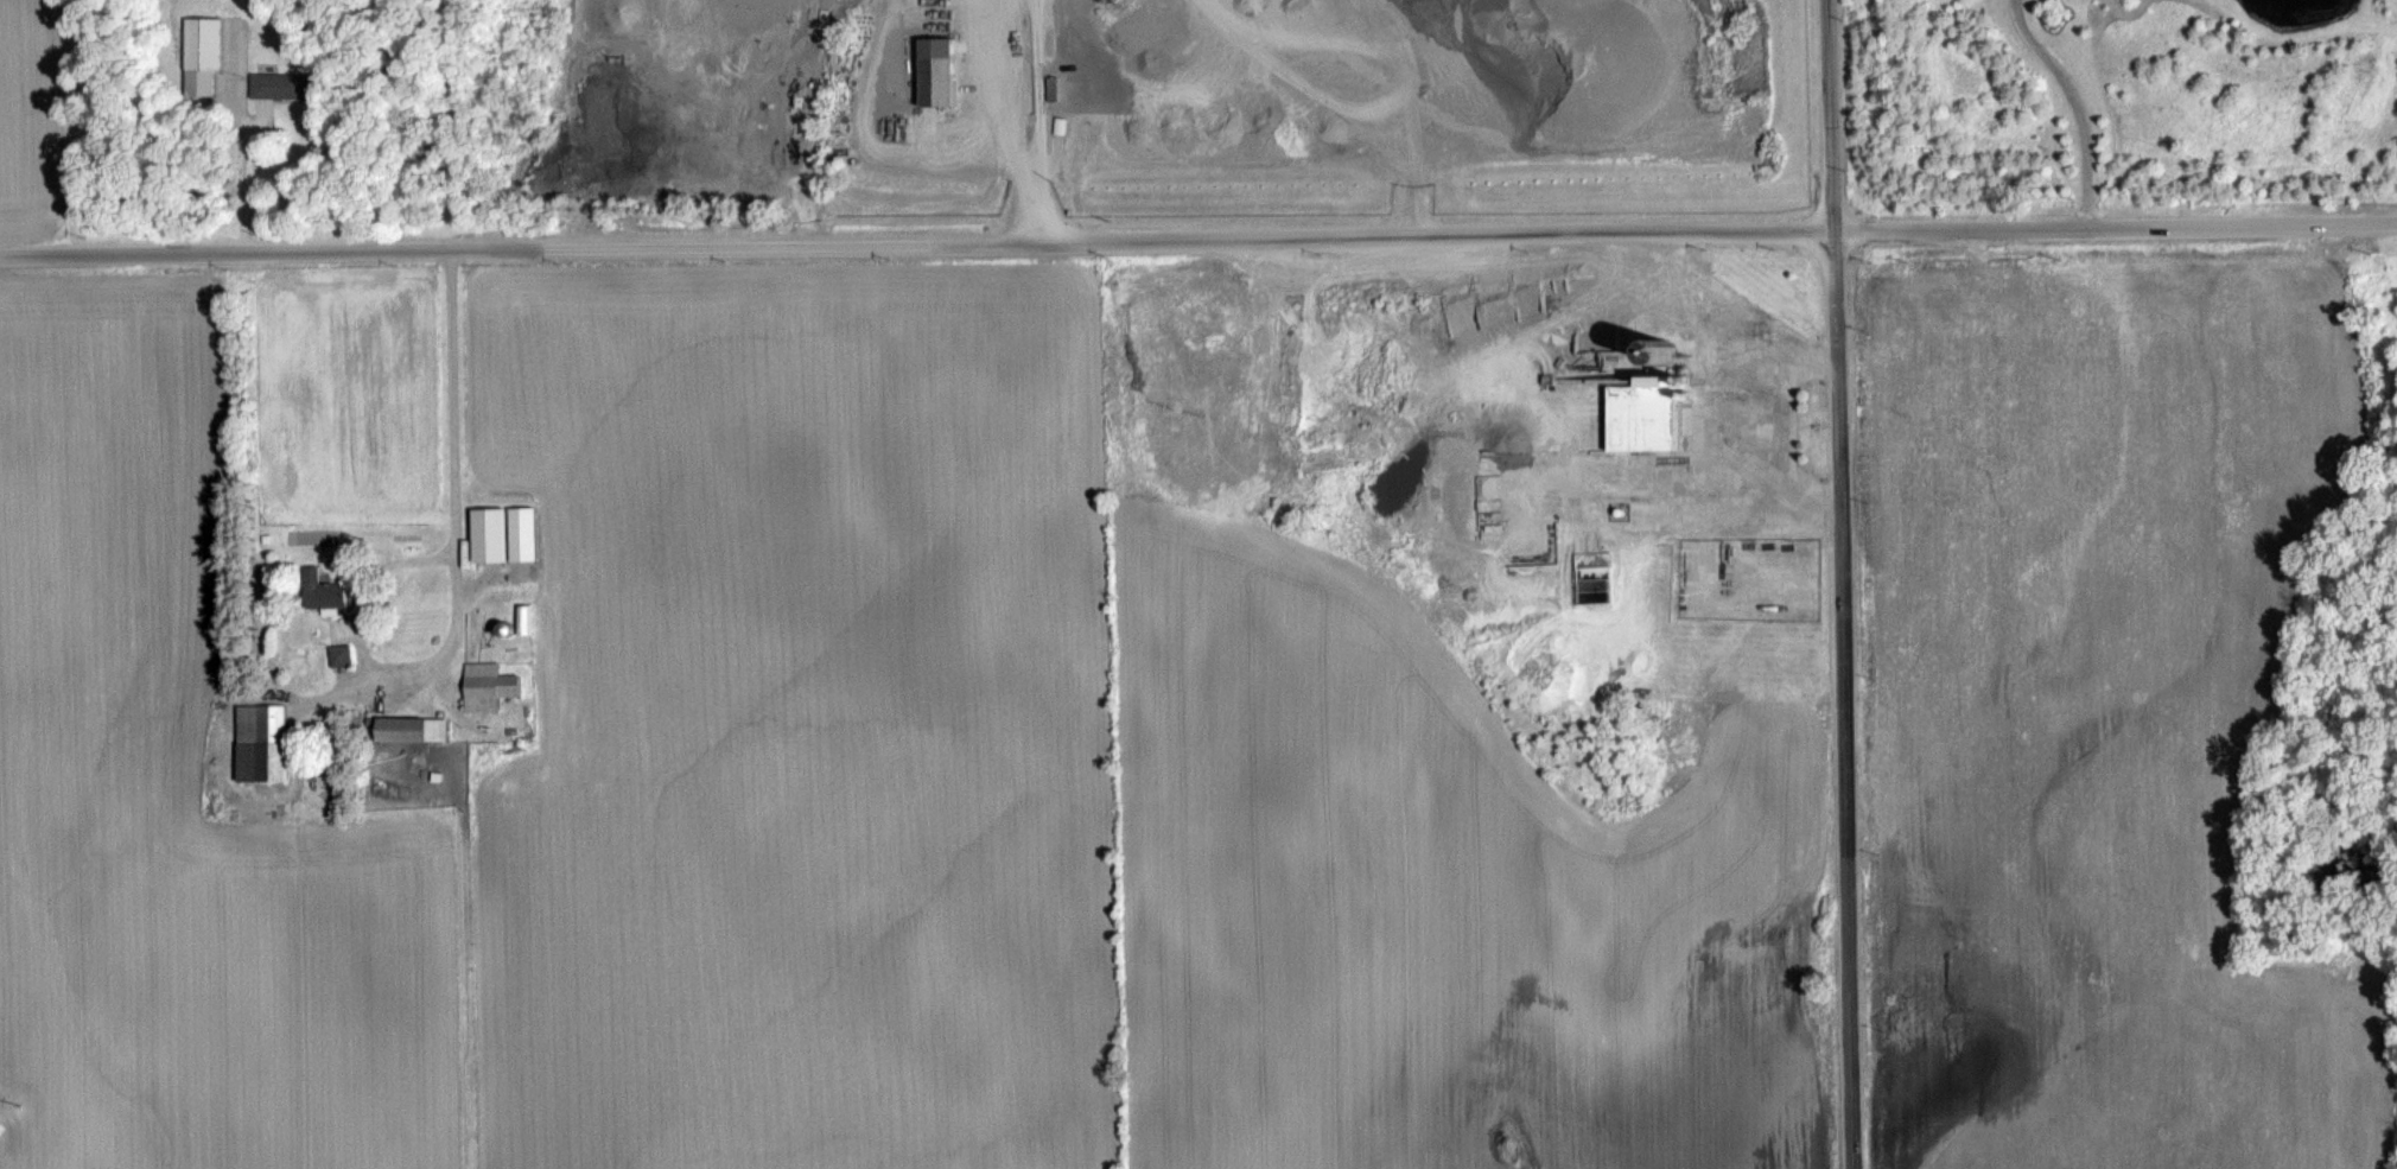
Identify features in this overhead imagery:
building: (941, 70)
building: (202, 82)
building: (282, 84)
road: (1198, 240)
building: (1658, 418)
building: (496, 532)
road: (1839, 584)
building: (330, 591)
building: (344, 653)
building: (322, 659)
building: (494, 685)
building: (418, 728)
building: (269, 741)

